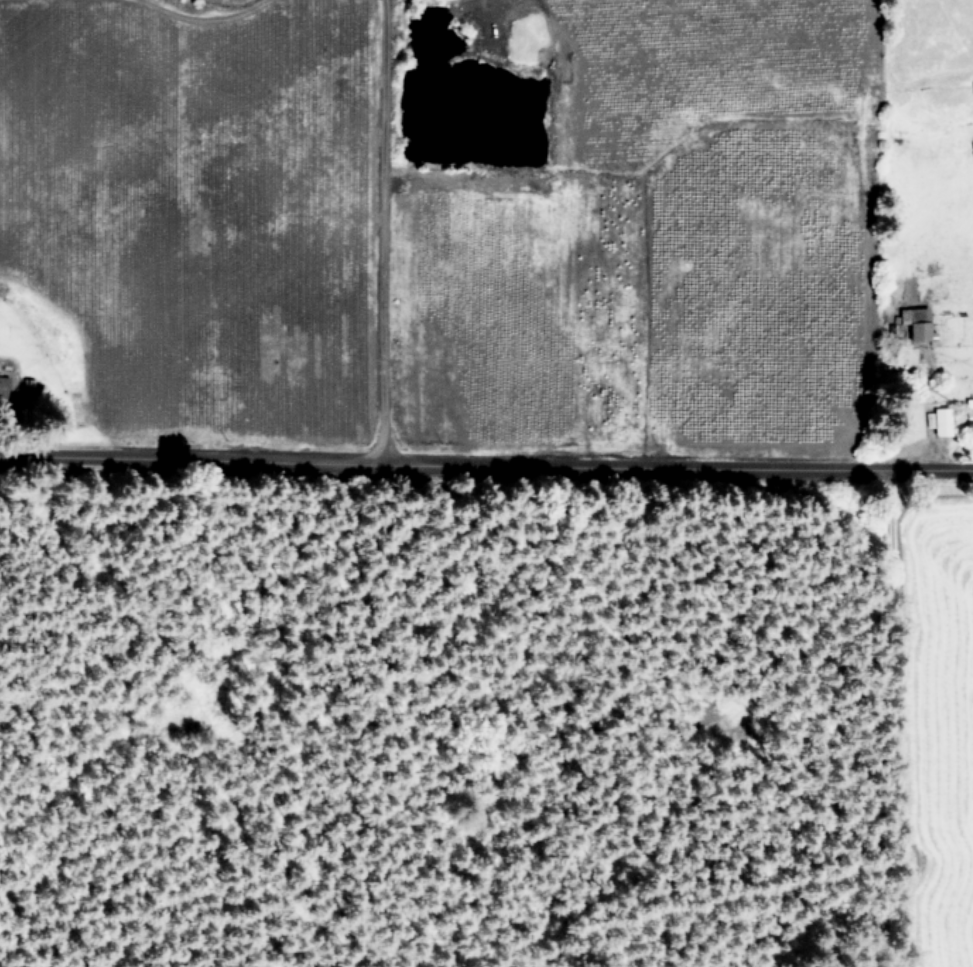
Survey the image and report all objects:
crop: (518, 282)
building: (917, 324)
road: (2, 362)
building: (2, 385)
building: (968, 409)
road: (486, 457)
road: (887, 714)

